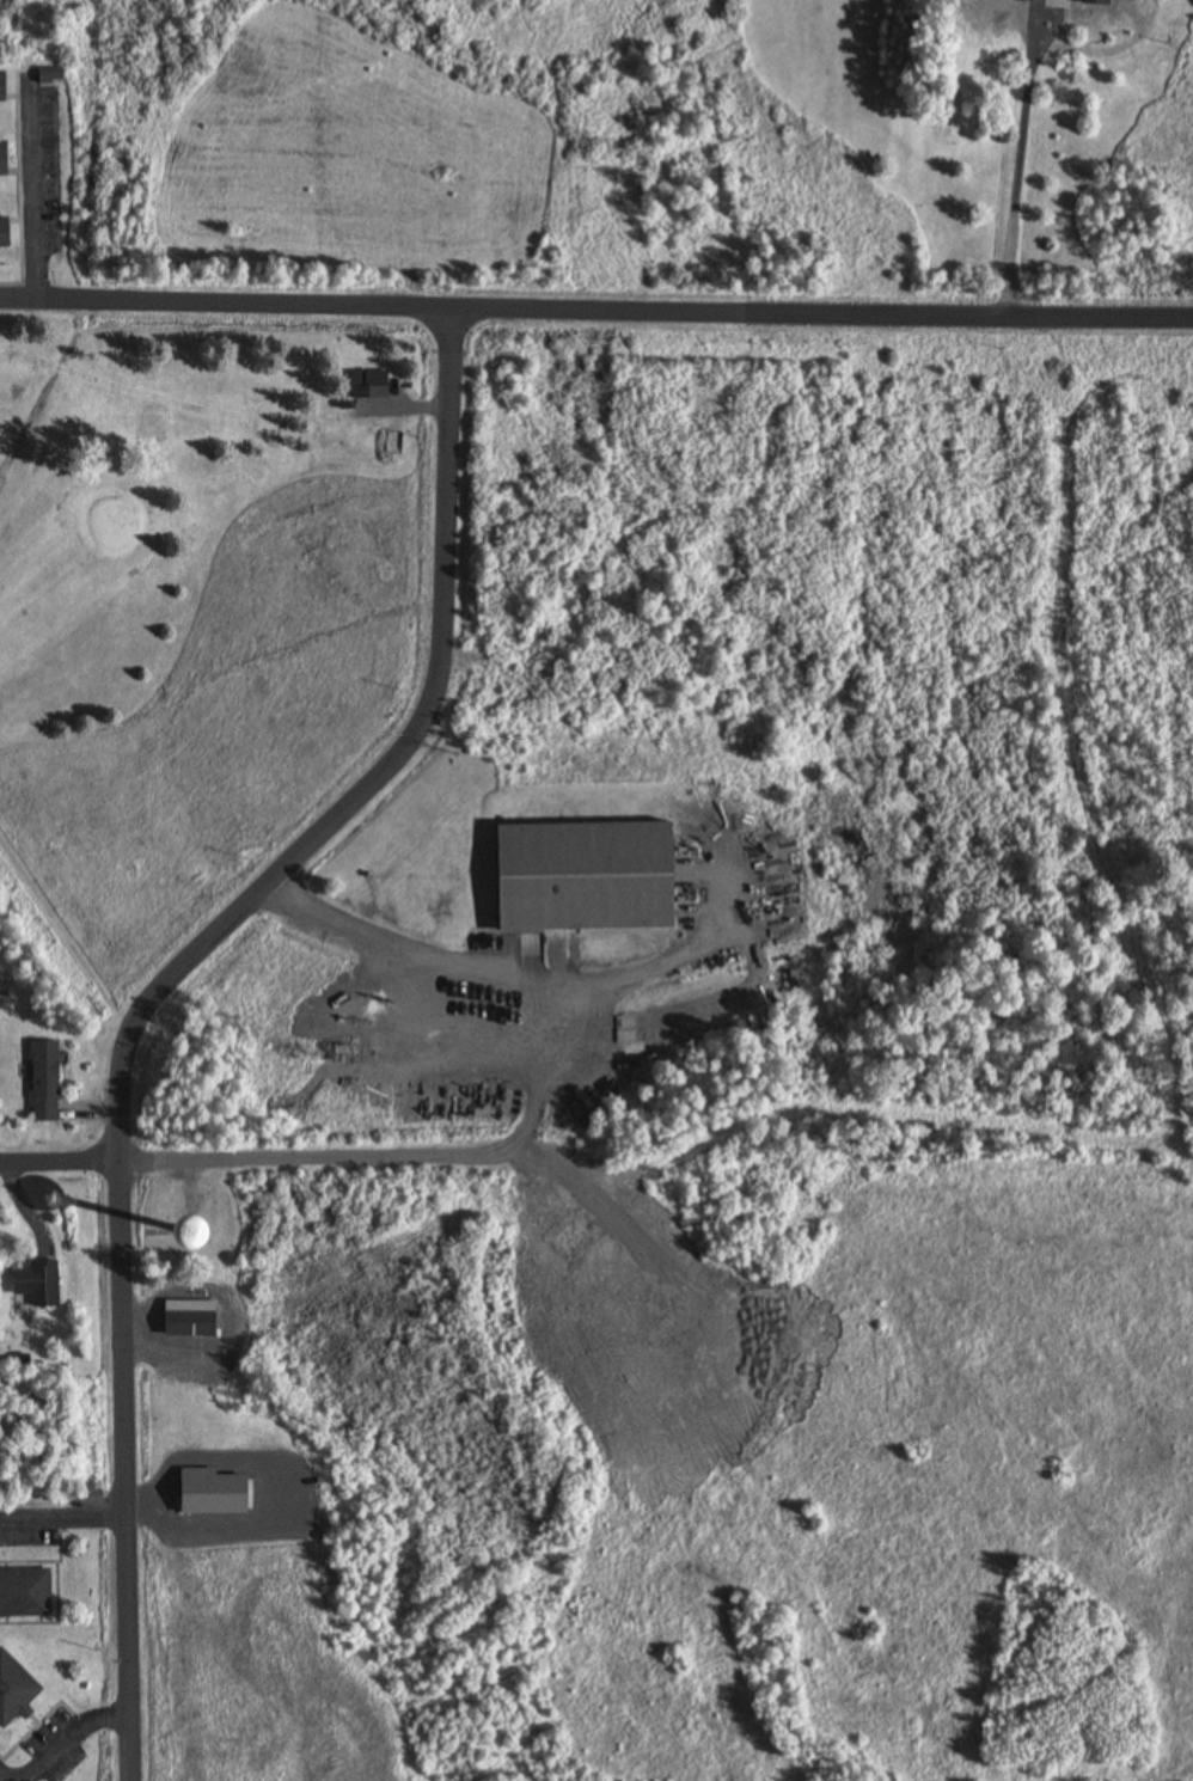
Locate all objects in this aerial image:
building: (1094, 4)
building: (48, 76)
building: (1, 88)
building: (1, 160)
building: (2, 234)
road: (37, 298)
road: (634, 306)
building: (367, 384)
building: (393, 443)
park: (112, 526)
park: (197, 605)
building: (595, 875)
road: (163, 992)
building: (43, 1082)
park: (793, 1139)
road: (320, 1158)
road: (62, 1162)
water tower: (189, 1228)
building: (35, 1285)
building: (185, 1324)
building: (24, 1595)
building: (12, 1691)

